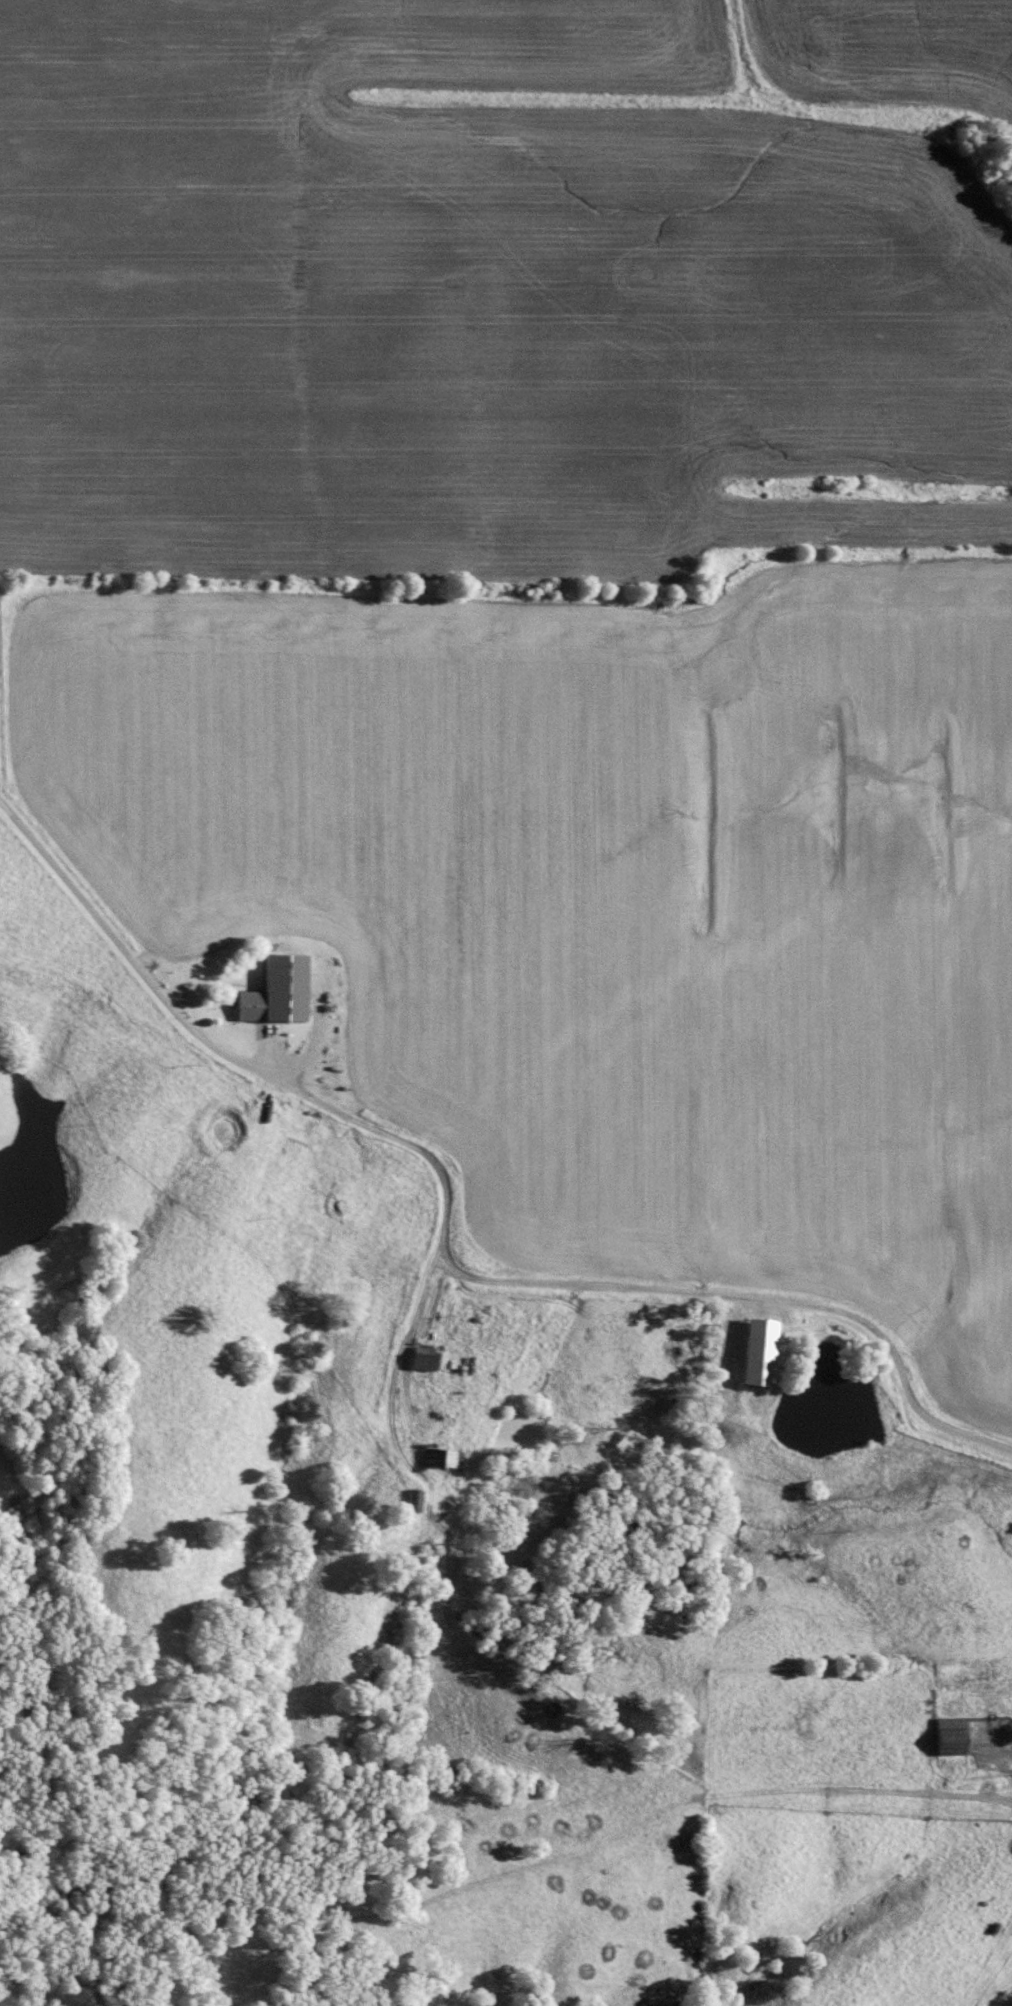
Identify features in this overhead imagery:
building: (273, 989)
road: (327, 1108)
building: (756, 1351)
building: (423, 1357)
building: (448, 1458)
building: (412, 1499)
road: (1007, 1776)

